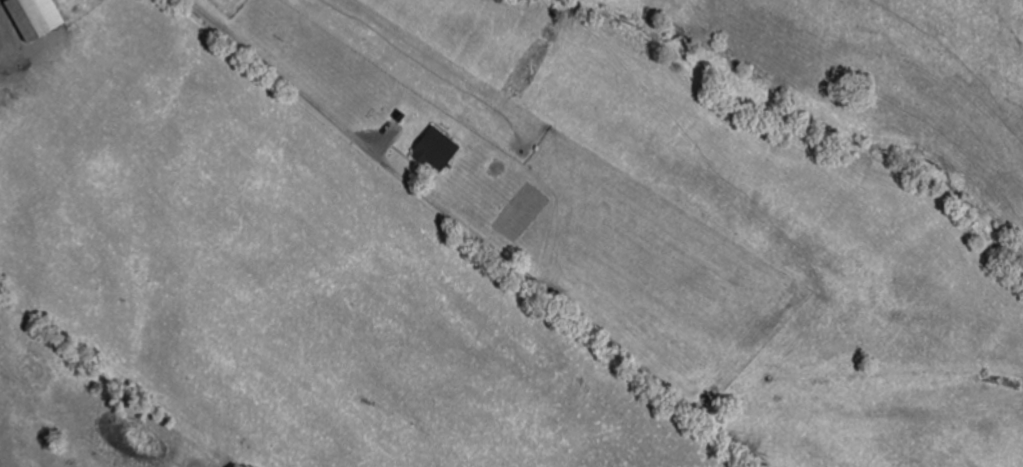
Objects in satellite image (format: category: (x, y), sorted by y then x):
road: (202, 10)
building: (35, 19)
building: (439, 150)

